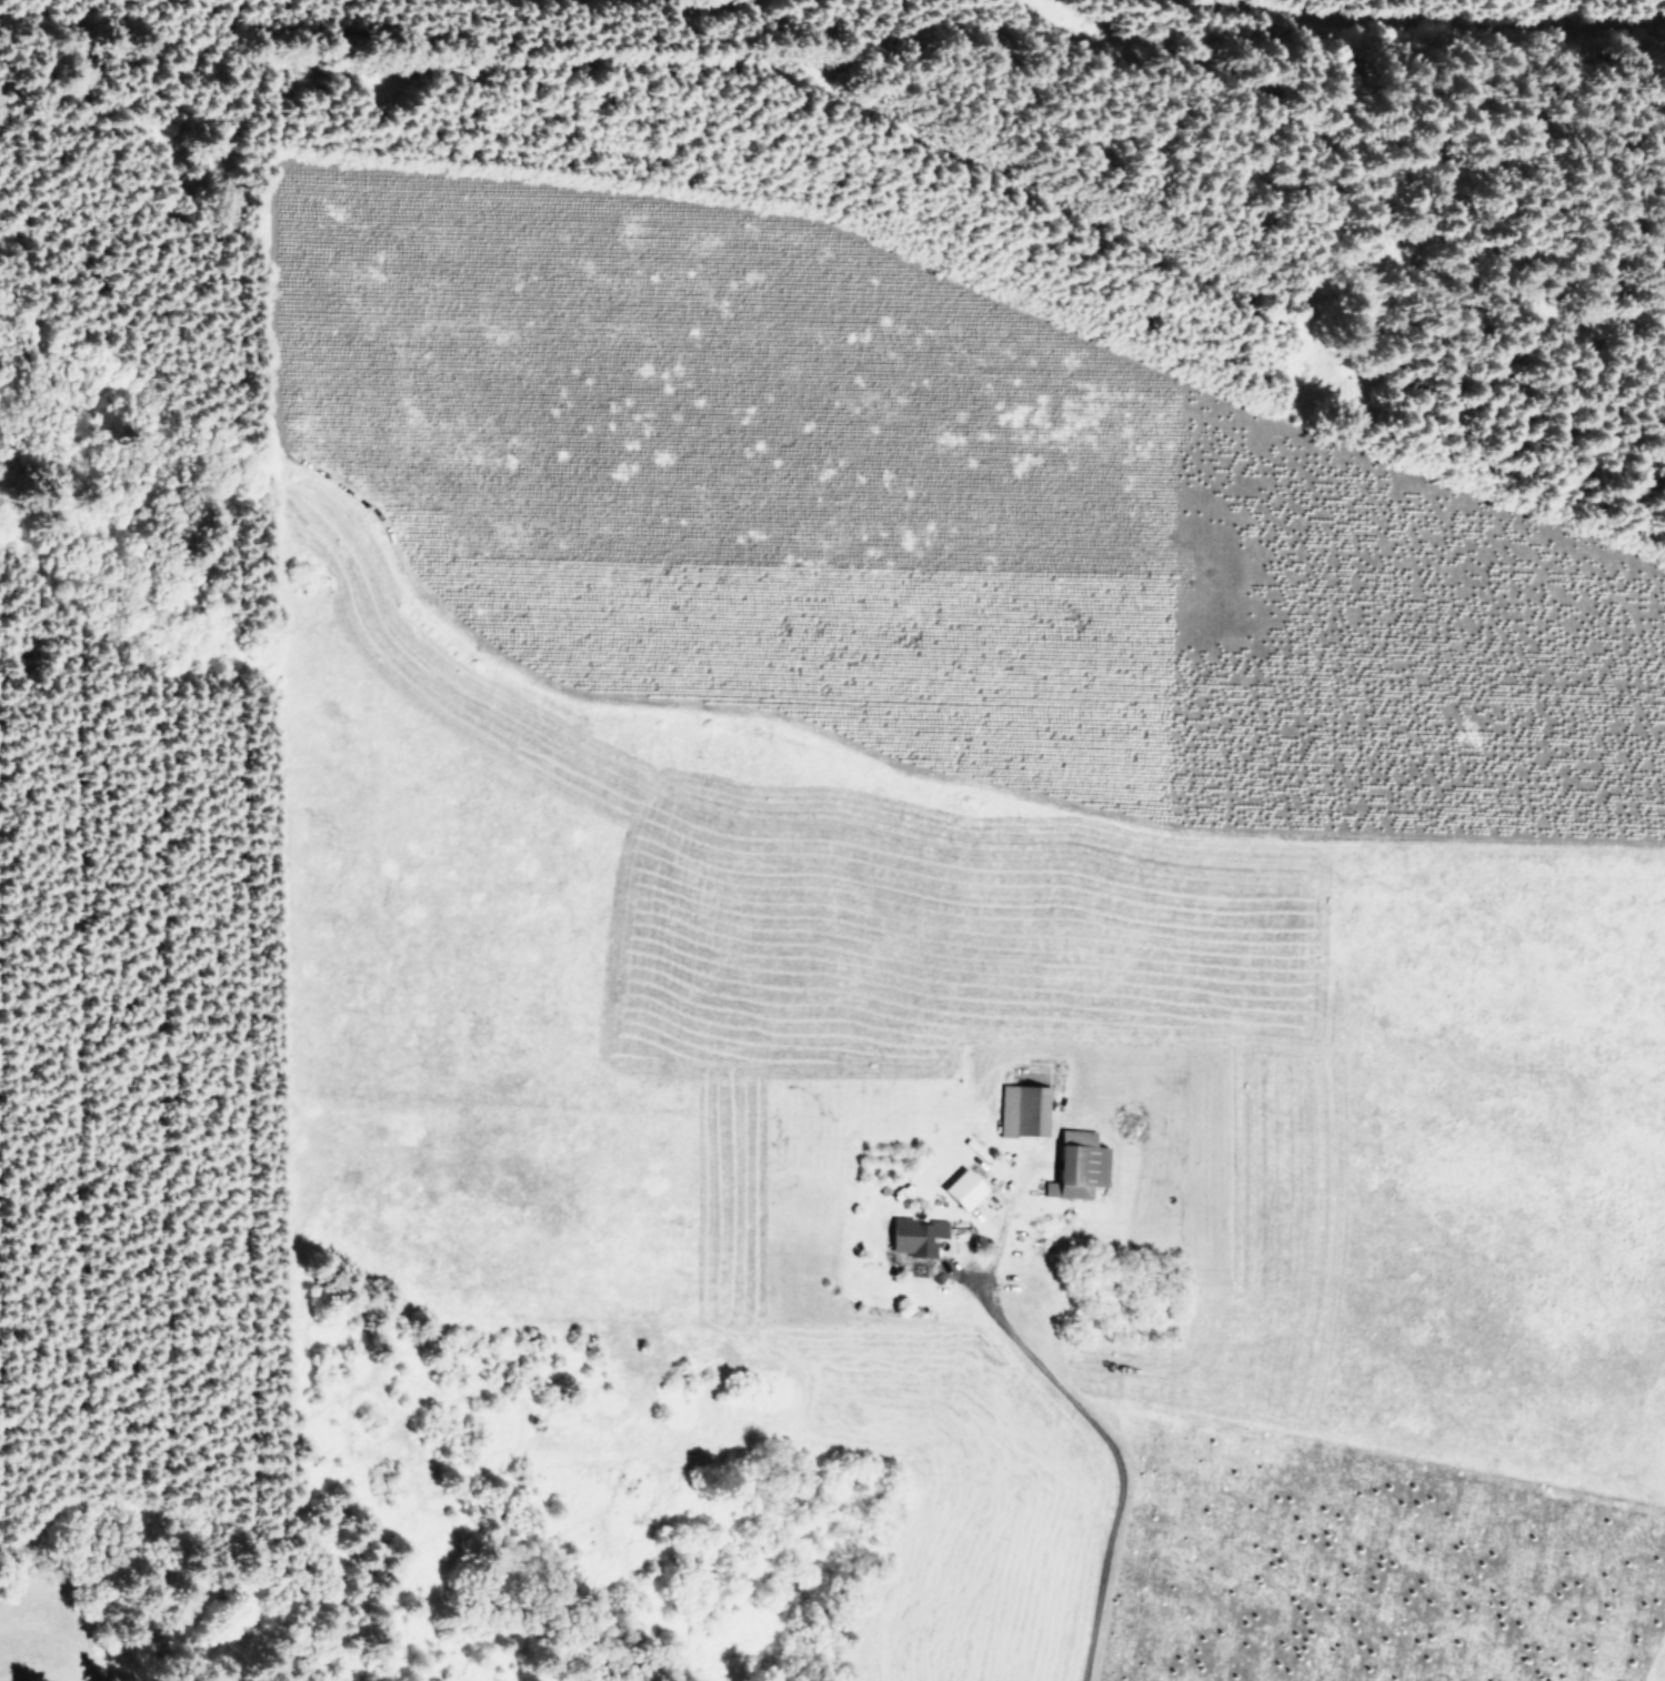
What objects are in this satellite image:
road: (663, 6)
road: (1417, 22)
road: (825, 88)
road: (1318, 175)
road: (976, 290)
road: (796, 726)
building: (1076, 1161)
building: (959, 1188)
building: (913, 1235)
road: (1077, 1416)
road: (53, 1598)

